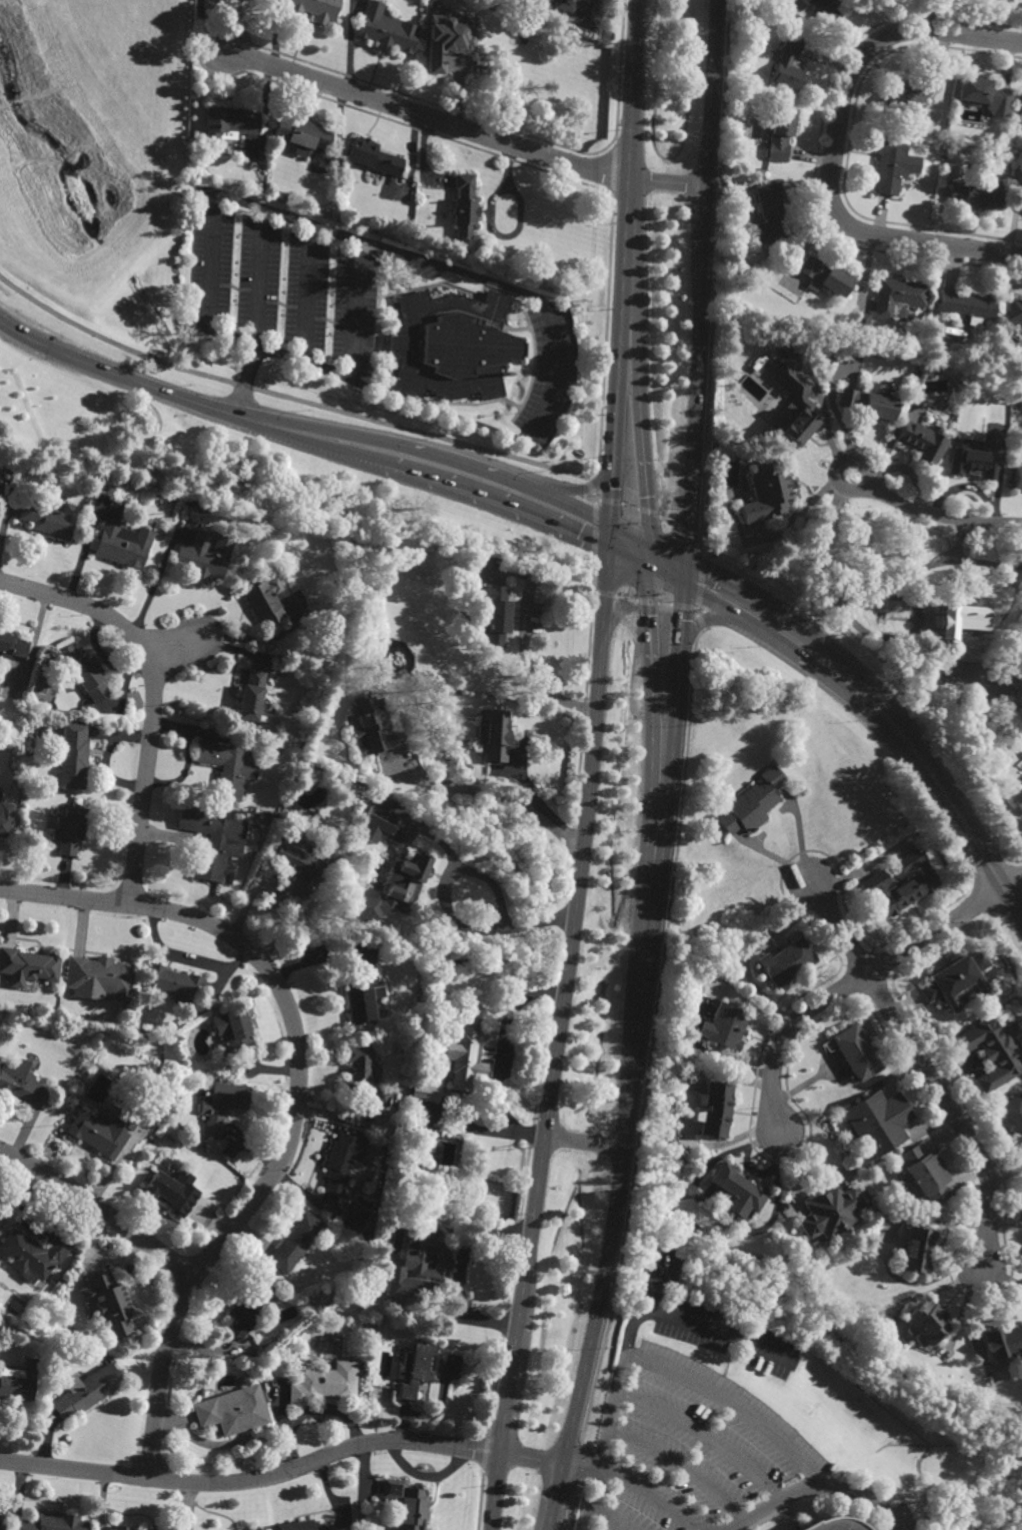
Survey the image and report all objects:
building: (541, 1)
building: (806, 1)
building: (570, 4)
building: (314, 8)
building: (824, 12)
building: (386, 28)
building: (446, 41)
road: (200, 58)
building: (788, 65)
road: (616, 74)
building: (983, 93)
building: (910, 95)
building: (229, 119)
road: (462, 128)
building: (301, 132)
building: (781, 133)
road: (835, 145)
building: (373, 155)
building: (889, 162)
road: (607, 171)
building: (975, 194)
road: (163, 200)
building: (465, 204)
building: (1021, 209)
building: (772, 214)
road: (308, 225)
road: (210, 261)
road: (623, 267)
road: (714, 269)
building: (825, 275)
road: (306, 295)
building: (892, 299)
building: (968, 304)
building: (1015, 310)
road: (352, 311)
road: (254, 314)
building: (911, 316)
road: (603, 338)
building: (451, 344)
building: (904, 368)
road: (284, 395)
road: (640, 395)
building: (977, 397)
building: (867, 402)
building: (801, 404)
building: (949, 406)
road: (821, 407)
road: (834, 410)
road: (540, 418)
road: (299, 434)
building: (922, 440)
park: (198, 447)
road: (848, 458)
building: (974, 460)
building: (1018, 479)
road: (589, 484)
building: (768, 494)
road: (594, 495)
road: (596, 499)
road: (610, 500)
road: (629, 506)
road: (648, 512)
road: (796, 513)
road: (939, 515)
building: (47, 519)
road: (666, 519)
road: (687, 530)
road: (594, 534)
traffic signals: (609, 534)
road: (617, 538)
building: (123, 545)
road: (644, 553)
building: (1015, 554)
building: (203, 556)
road: (931, 562)
traffic signals: (687, 578)
road: (871, 597)
building: (262, 604)
building: (493, 616)
building: (966, 620)
road: (262, 638)
building: (12, 646)
road: (176, 646)
building: (84, 672)
road: (153, 695)
road: (864, 696)
building: (251, 697)
building: (370, 726)
building: (491, 737)
building: (73, 757)
building: (226, 768)
road: (651, 768)
road: (672, 769)
building: (310, 776)
building: (1017, 800)
road: (495, 804)
building: (751, 804)
building: (374, 814)
building: (5, 826)
building: (69, 830)
building: (212, 841)
building: (298, 866)
building: (900, 885)
building: (390, 891)
road: (490, 903)
road: (1013, 904)
road: (838, 927)
road: (184, 959)
building: (789, 959)
building: (442, 962)
building: (28, 965)
building: (100, 976)
building: (956, 978)
road: (858, 979)
building: (173, 983)
building: (363, 993)
building: (725, 1025)
road: (558, 1032)
building: (237, 1033)
building: (856, 1051)
building: (466, 1052)
building: (991, 1052)
road: (496, 1056)
building: (359, 1070)
building: (20, 1085)
building: (425, 1091)
road: (298, 1096)
building: (381, 1097)
building: (222, 1105)
building: (714, 1109)
road: (954, 1116)
building: (1012, 1118)
building: (878, 1121)
building: (104, 1131)
building: (425, 1144)
road: (583, 1144)
building: (344, 1161)
building: (923, 1176)
building: (739, 1190)
building: (169, 1191)
road: (99, 1208)
building: (831, 1213)
building: (353, 1220)
building: (295, 1241)
building: (916, 1250)
building: (34, 1254)
building: (421, 1266)
road: (654, 1281)
building: (110, 1305)
building: (247, 1309)
building: (927, 1322)
building: (1003, 1342)
road: (625, 1343)
building: (415, 1370)
building: (18, 1383)
building: (322, 1385)
building: (87, 1393)
road: (732, 1405)
building: (232, 1411)
road: (703, 1435)
road: (223, 1445)
road: (679, 1468)
road: (284, 1472)
road: (632, 1487)
road: (814, 1487)
building: (407, 1505)
road: (607, 1519)
building: (3, 1522)
building: (55, 1524)
building: (834, 1525)
building: (303, 1526)
building: (119, 1529)
building: (247, 1529)
building: (253, 1529)

